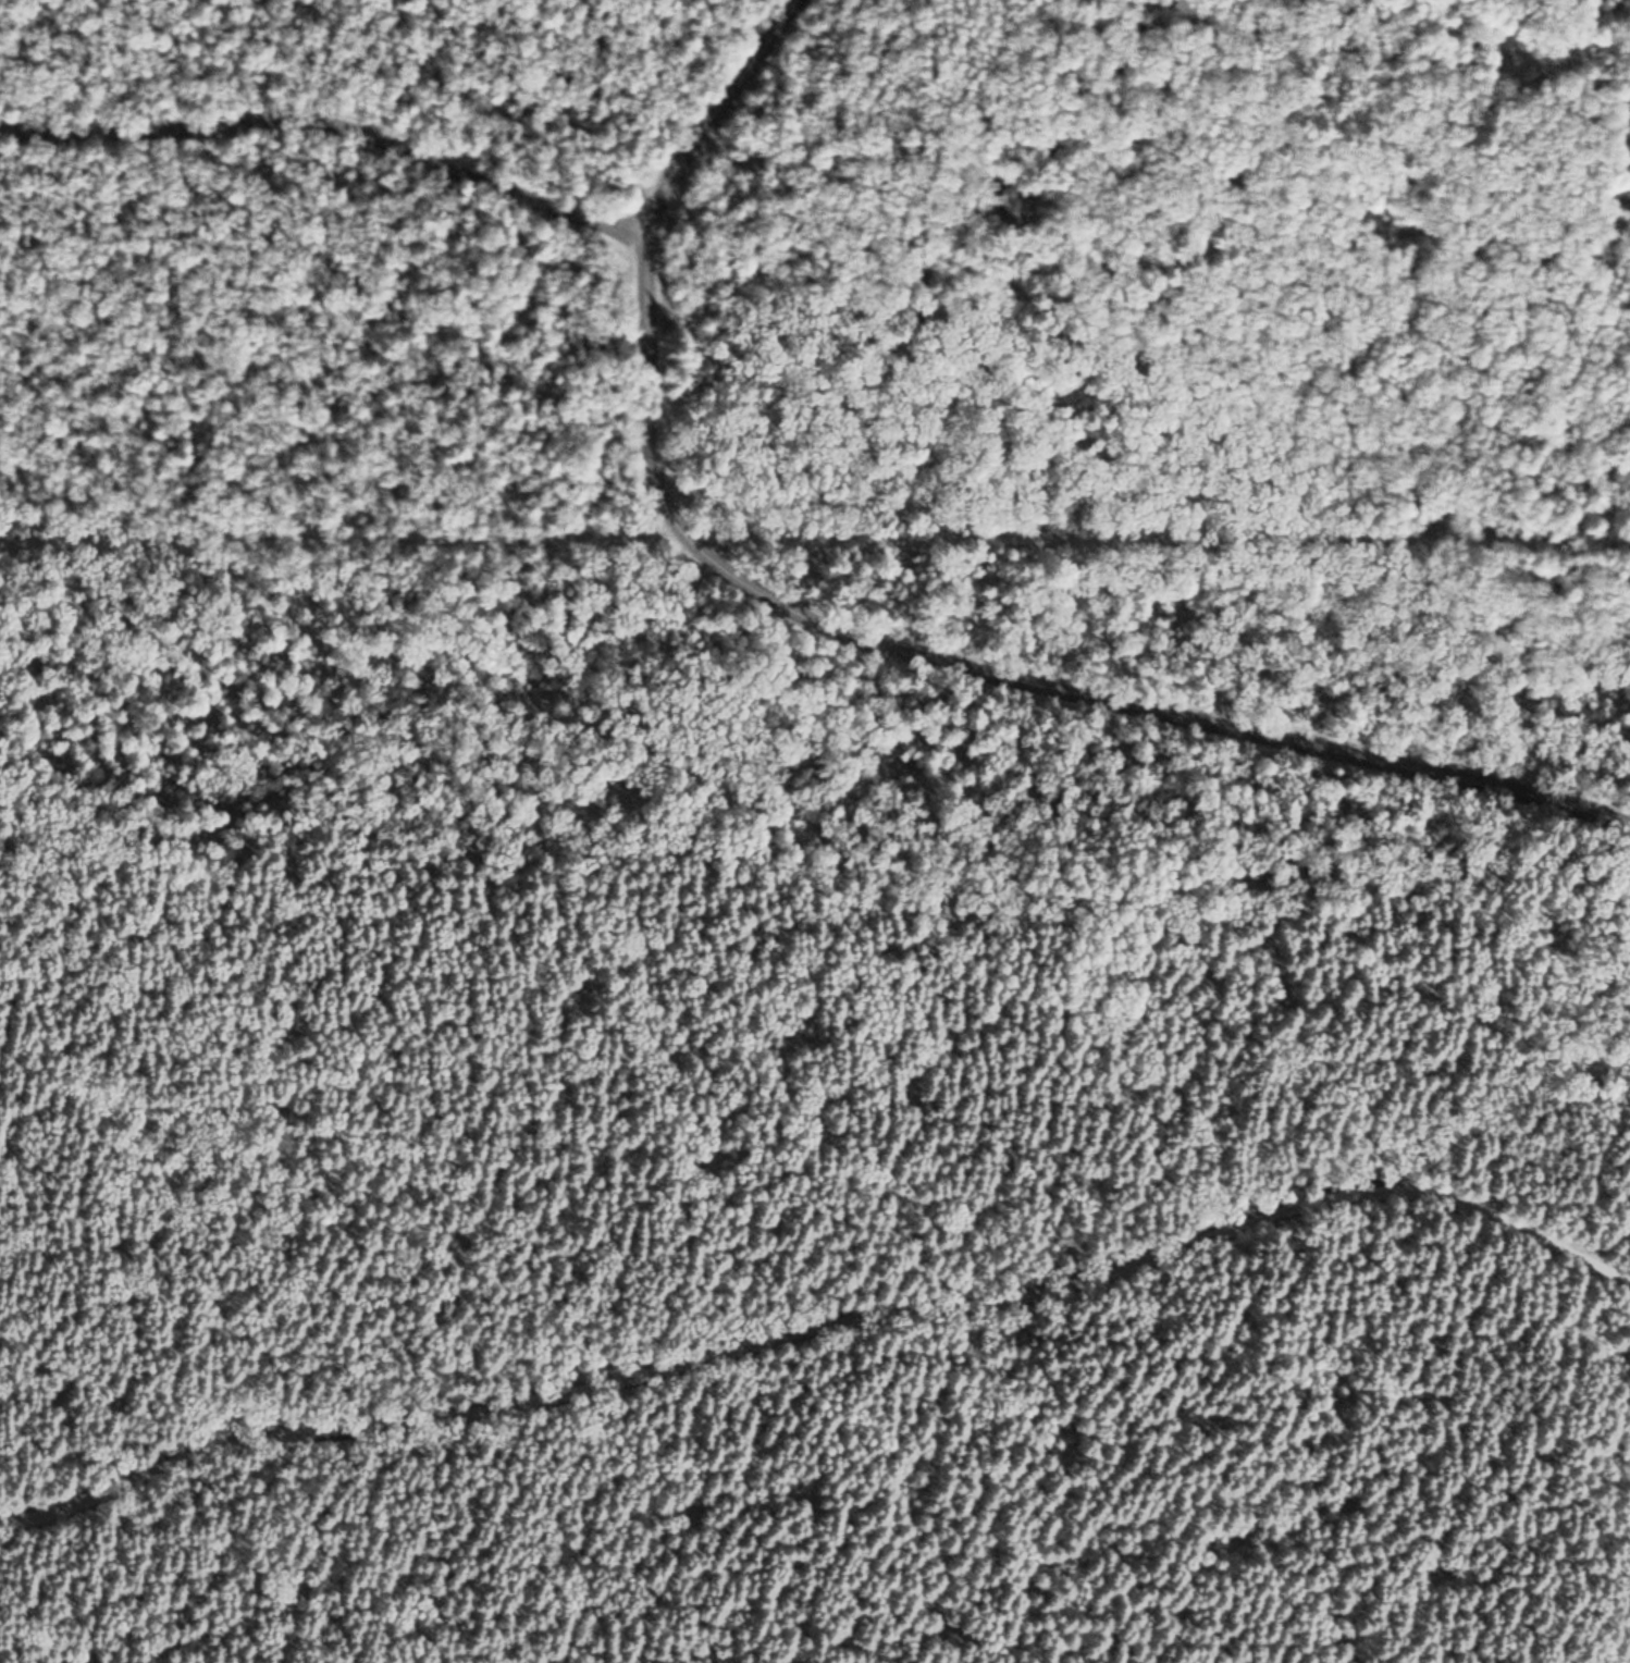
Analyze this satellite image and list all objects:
road: (331, 125)
road: (1453, 136)
road: (344, 533)
road: (859, 639)
road: (716, 781)
road: (169, 869)
road: (1508, 1076)
road: (824, 1333)

